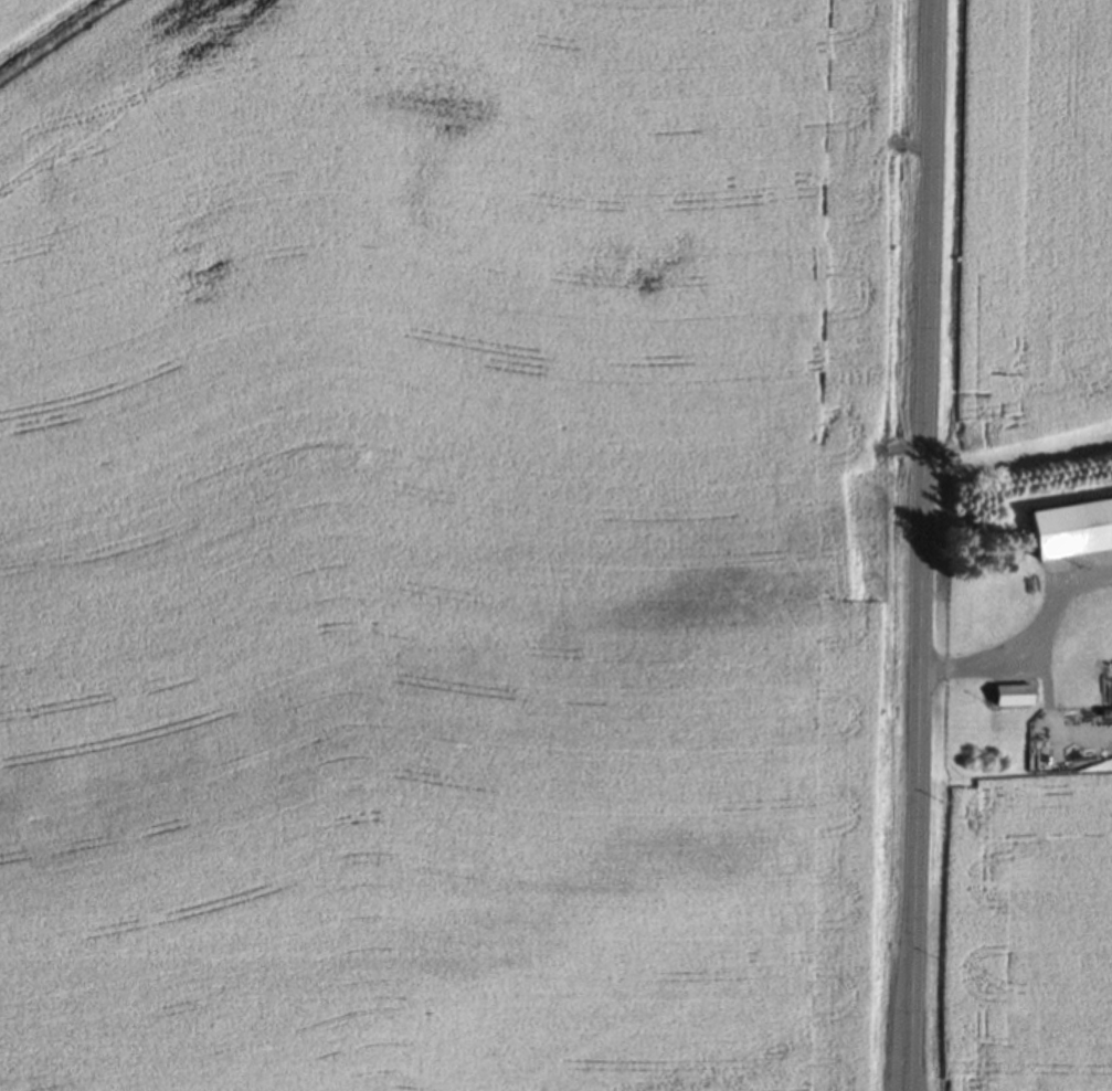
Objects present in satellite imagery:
building: (1070, 534)
road: (915, 544)
building: (1013, 622)
road: (1020, 637)
building: (1008, 701)

